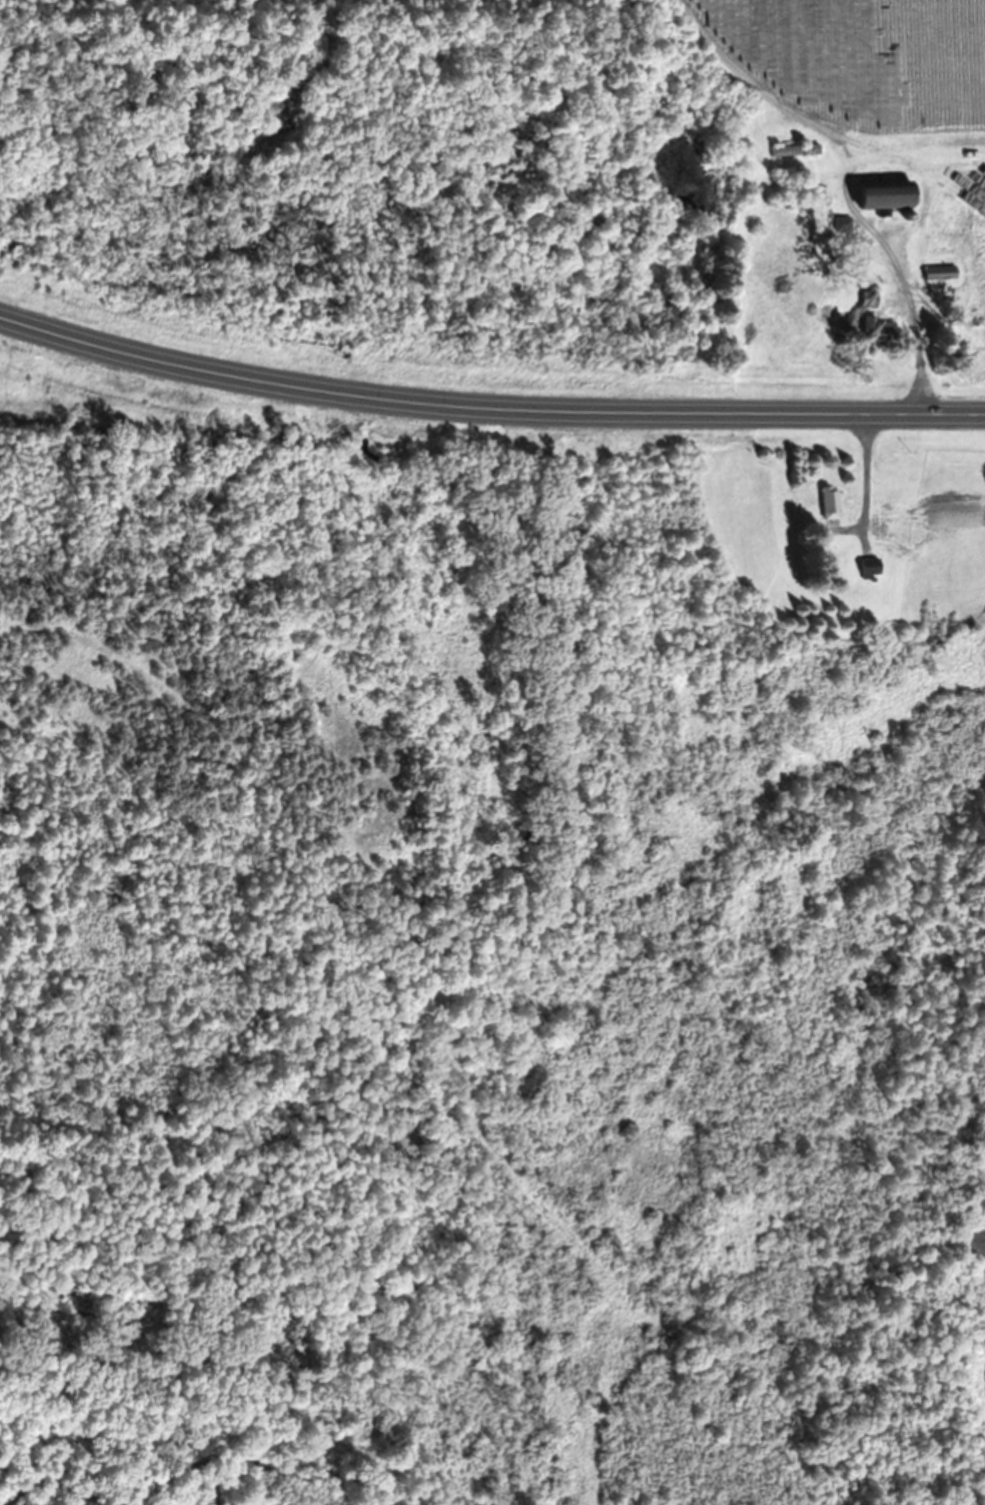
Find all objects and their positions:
building: (942, 272)
building: (881, 331)
road: (487, 408)
building: (832, 503)
building: (873, 568)
airport: (268, 688)

